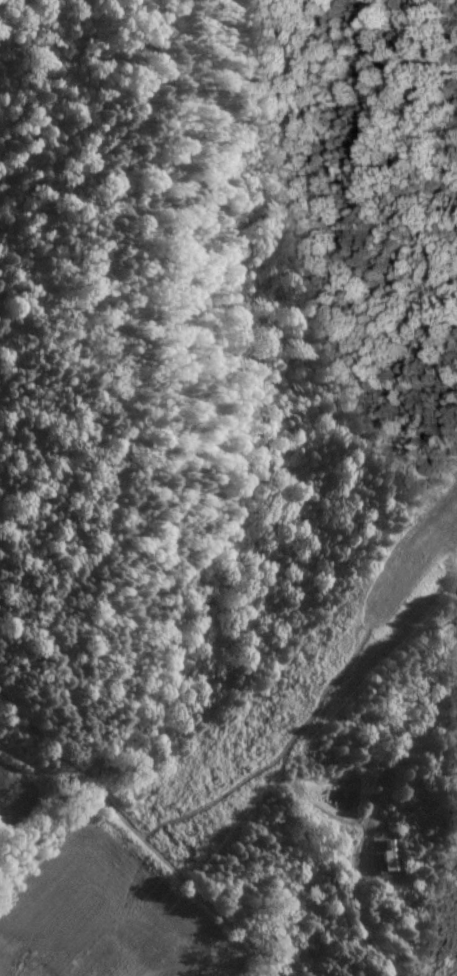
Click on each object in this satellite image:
building: (386, 858)

